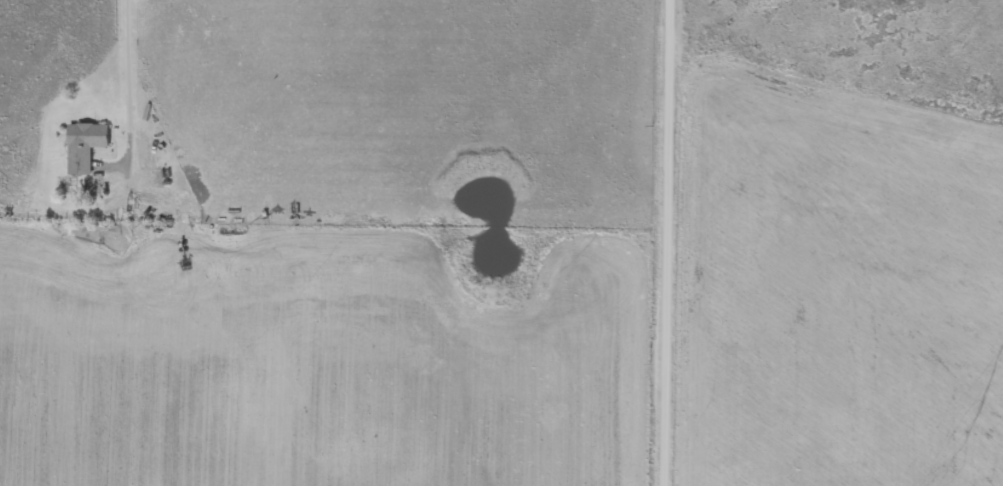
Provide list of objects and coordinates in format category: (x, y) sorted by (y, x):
building: (83, 148)
road: (670, 243)

